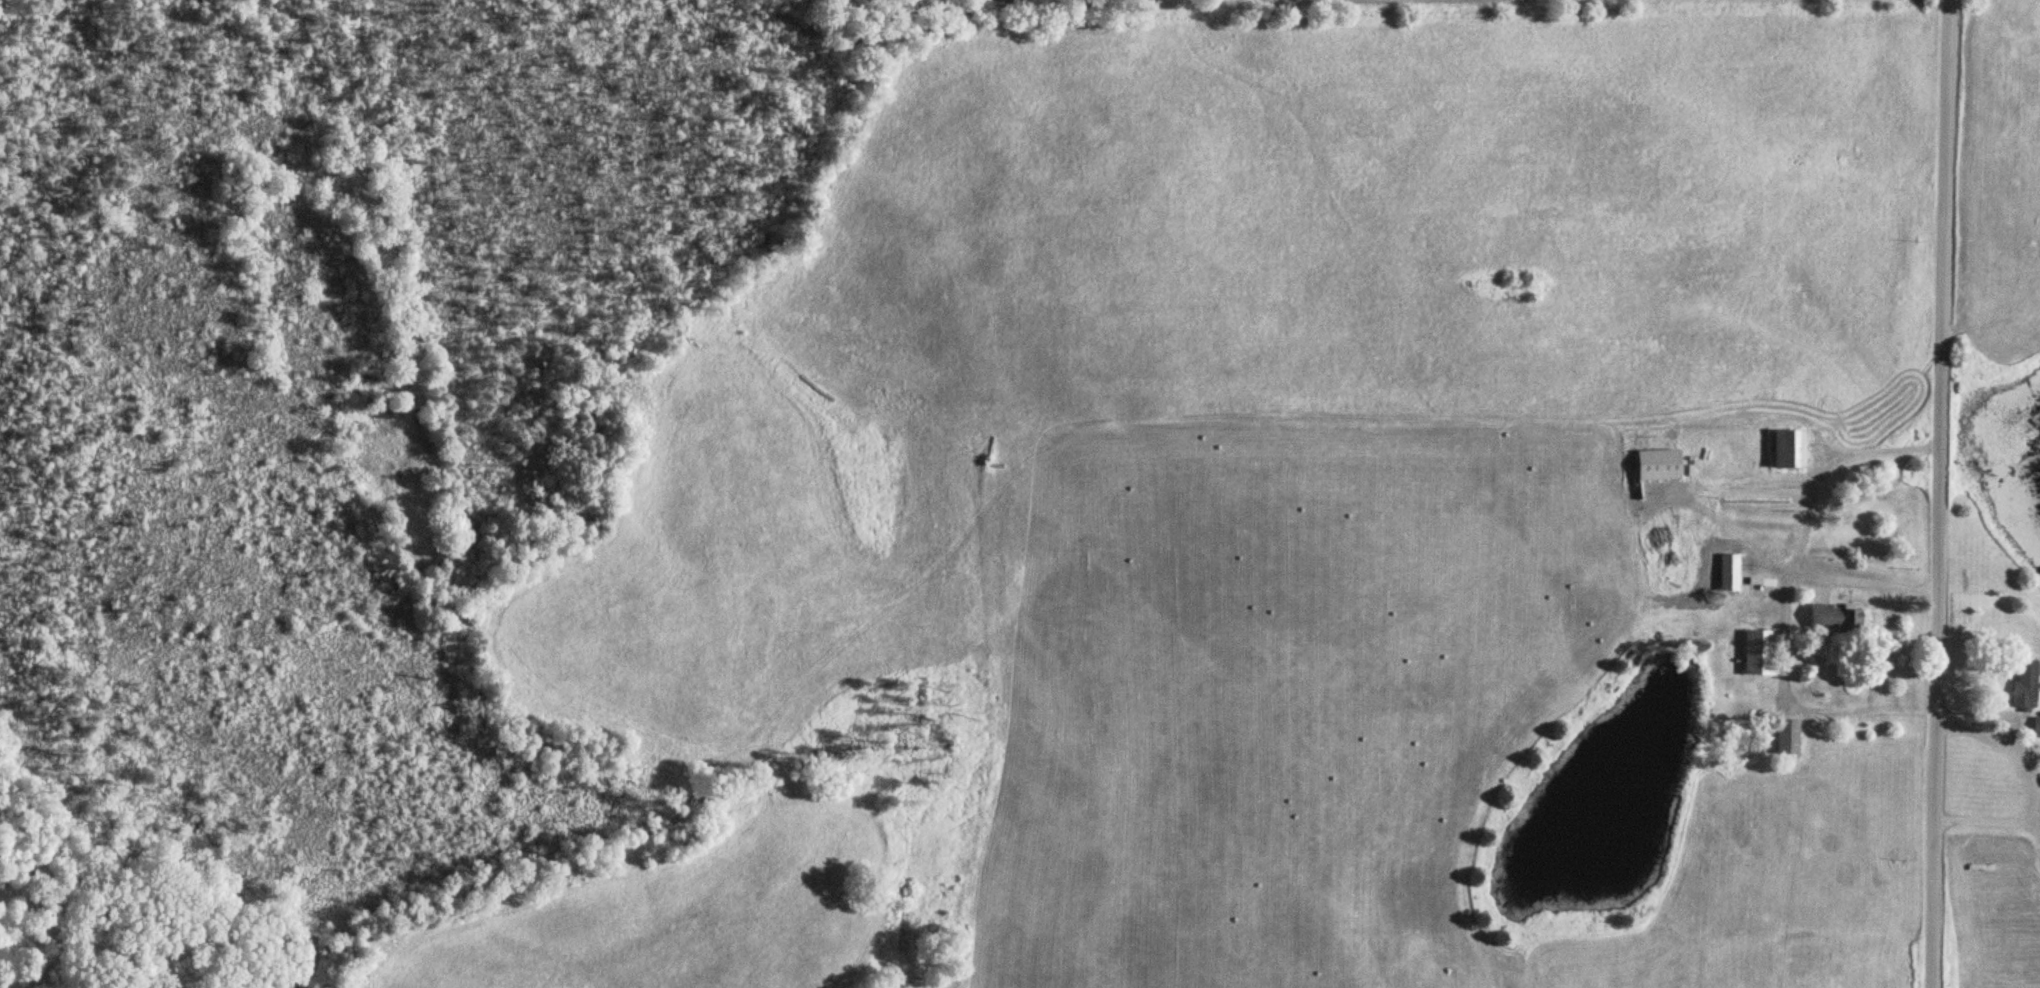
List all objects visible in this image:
building: (1785, 448)
building: (1655, 465)
road: (1941, 493)
building: (1728, 572)
building: (1835, 617)
road: (1784, 644)
building: (1758, 652)
building: (2024, 683)
building: (2035, 727)
building: (1786, 736)
road: (2034, 783)

